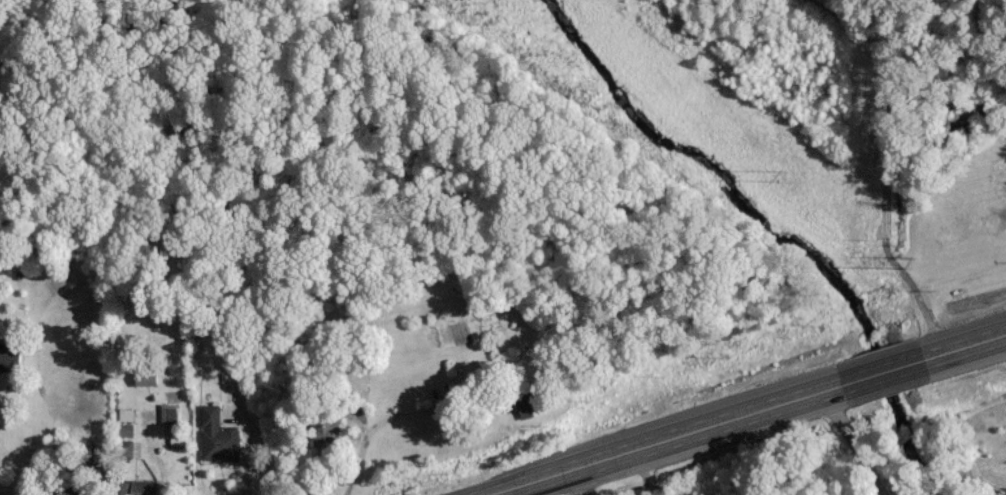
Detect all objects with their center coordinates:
power tower: (784, 174)
power tower: (910, 263)
building: (141, 377)
building: (520, 404)
road: (742, 412)
building: (327, 428)
building: (216, 436)
building: (131, 487)

